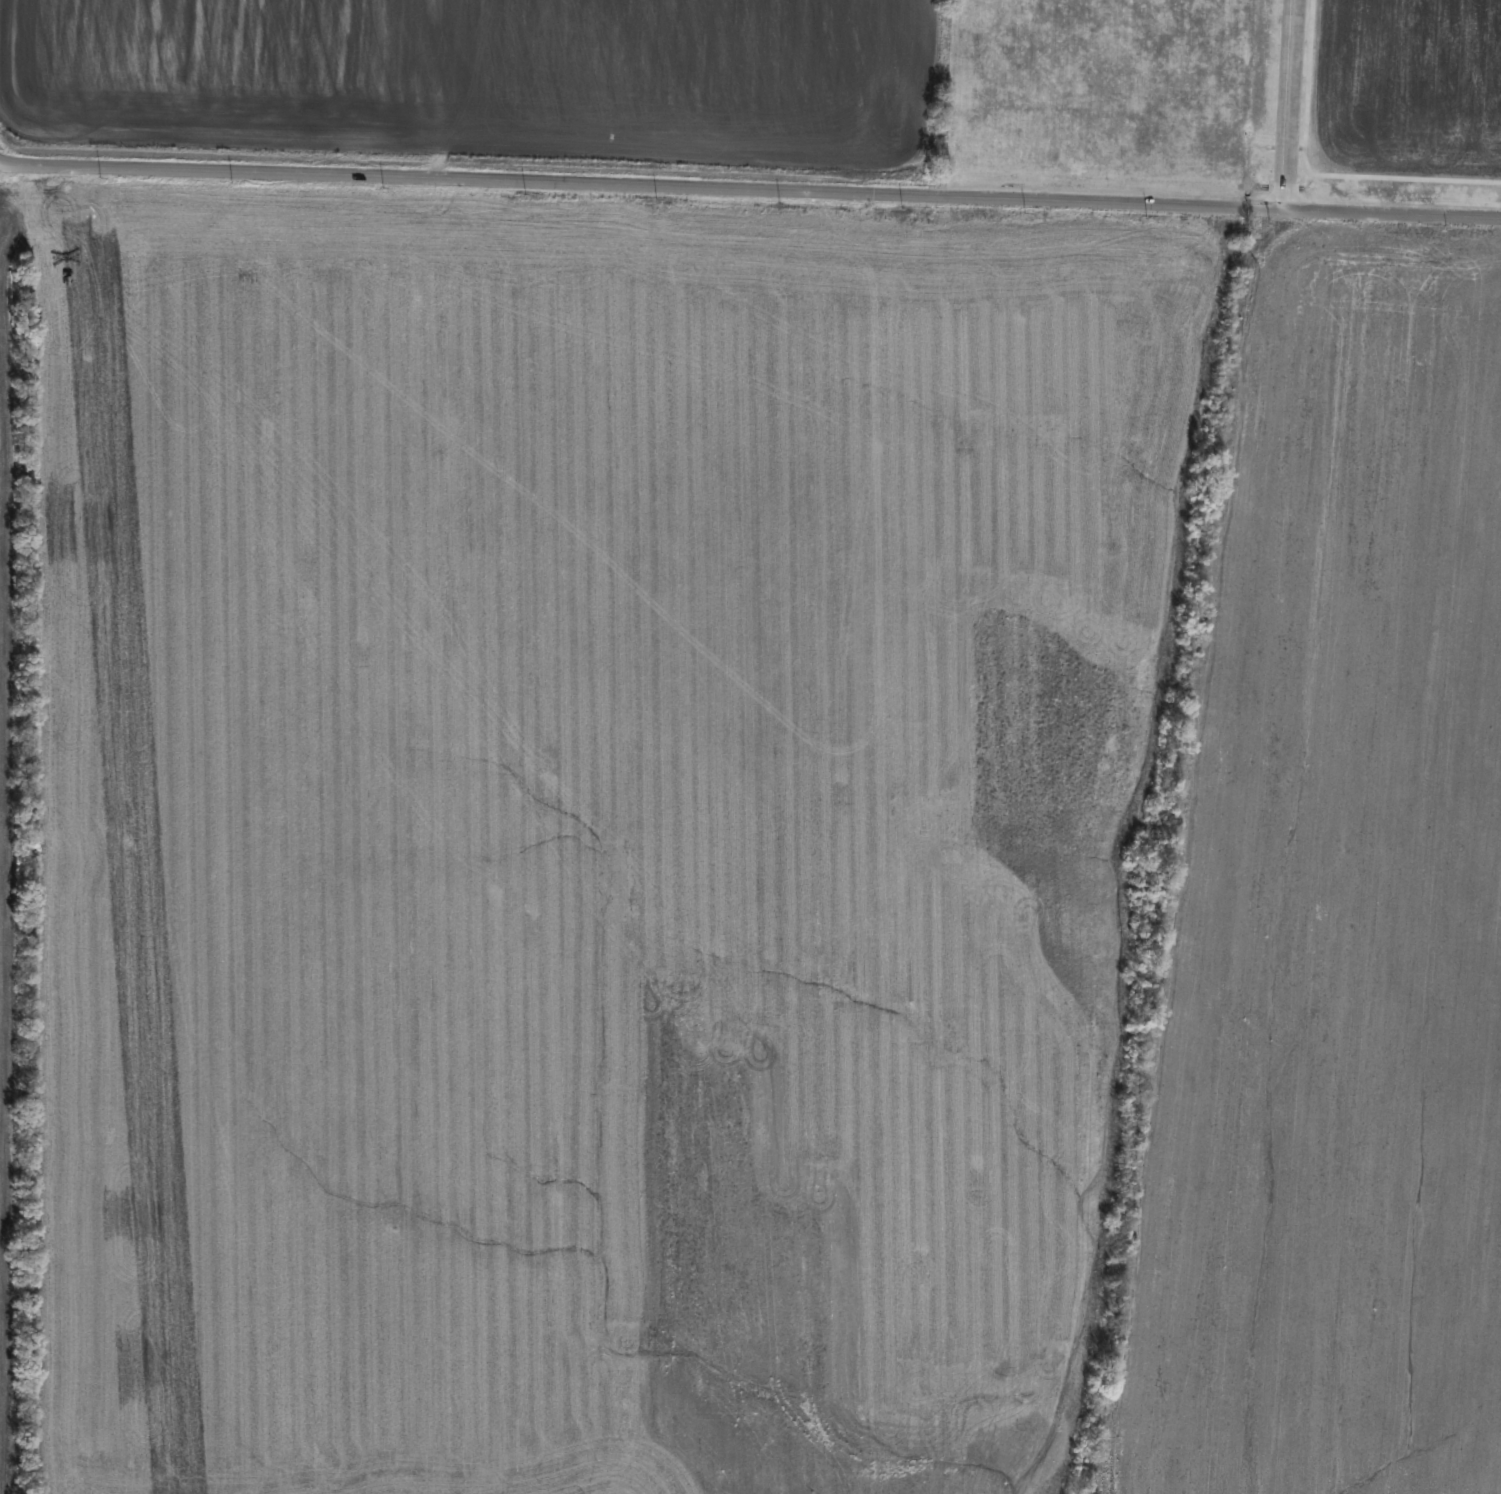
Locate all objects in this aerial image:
road: (1285, 105)
road: (750, 189)

